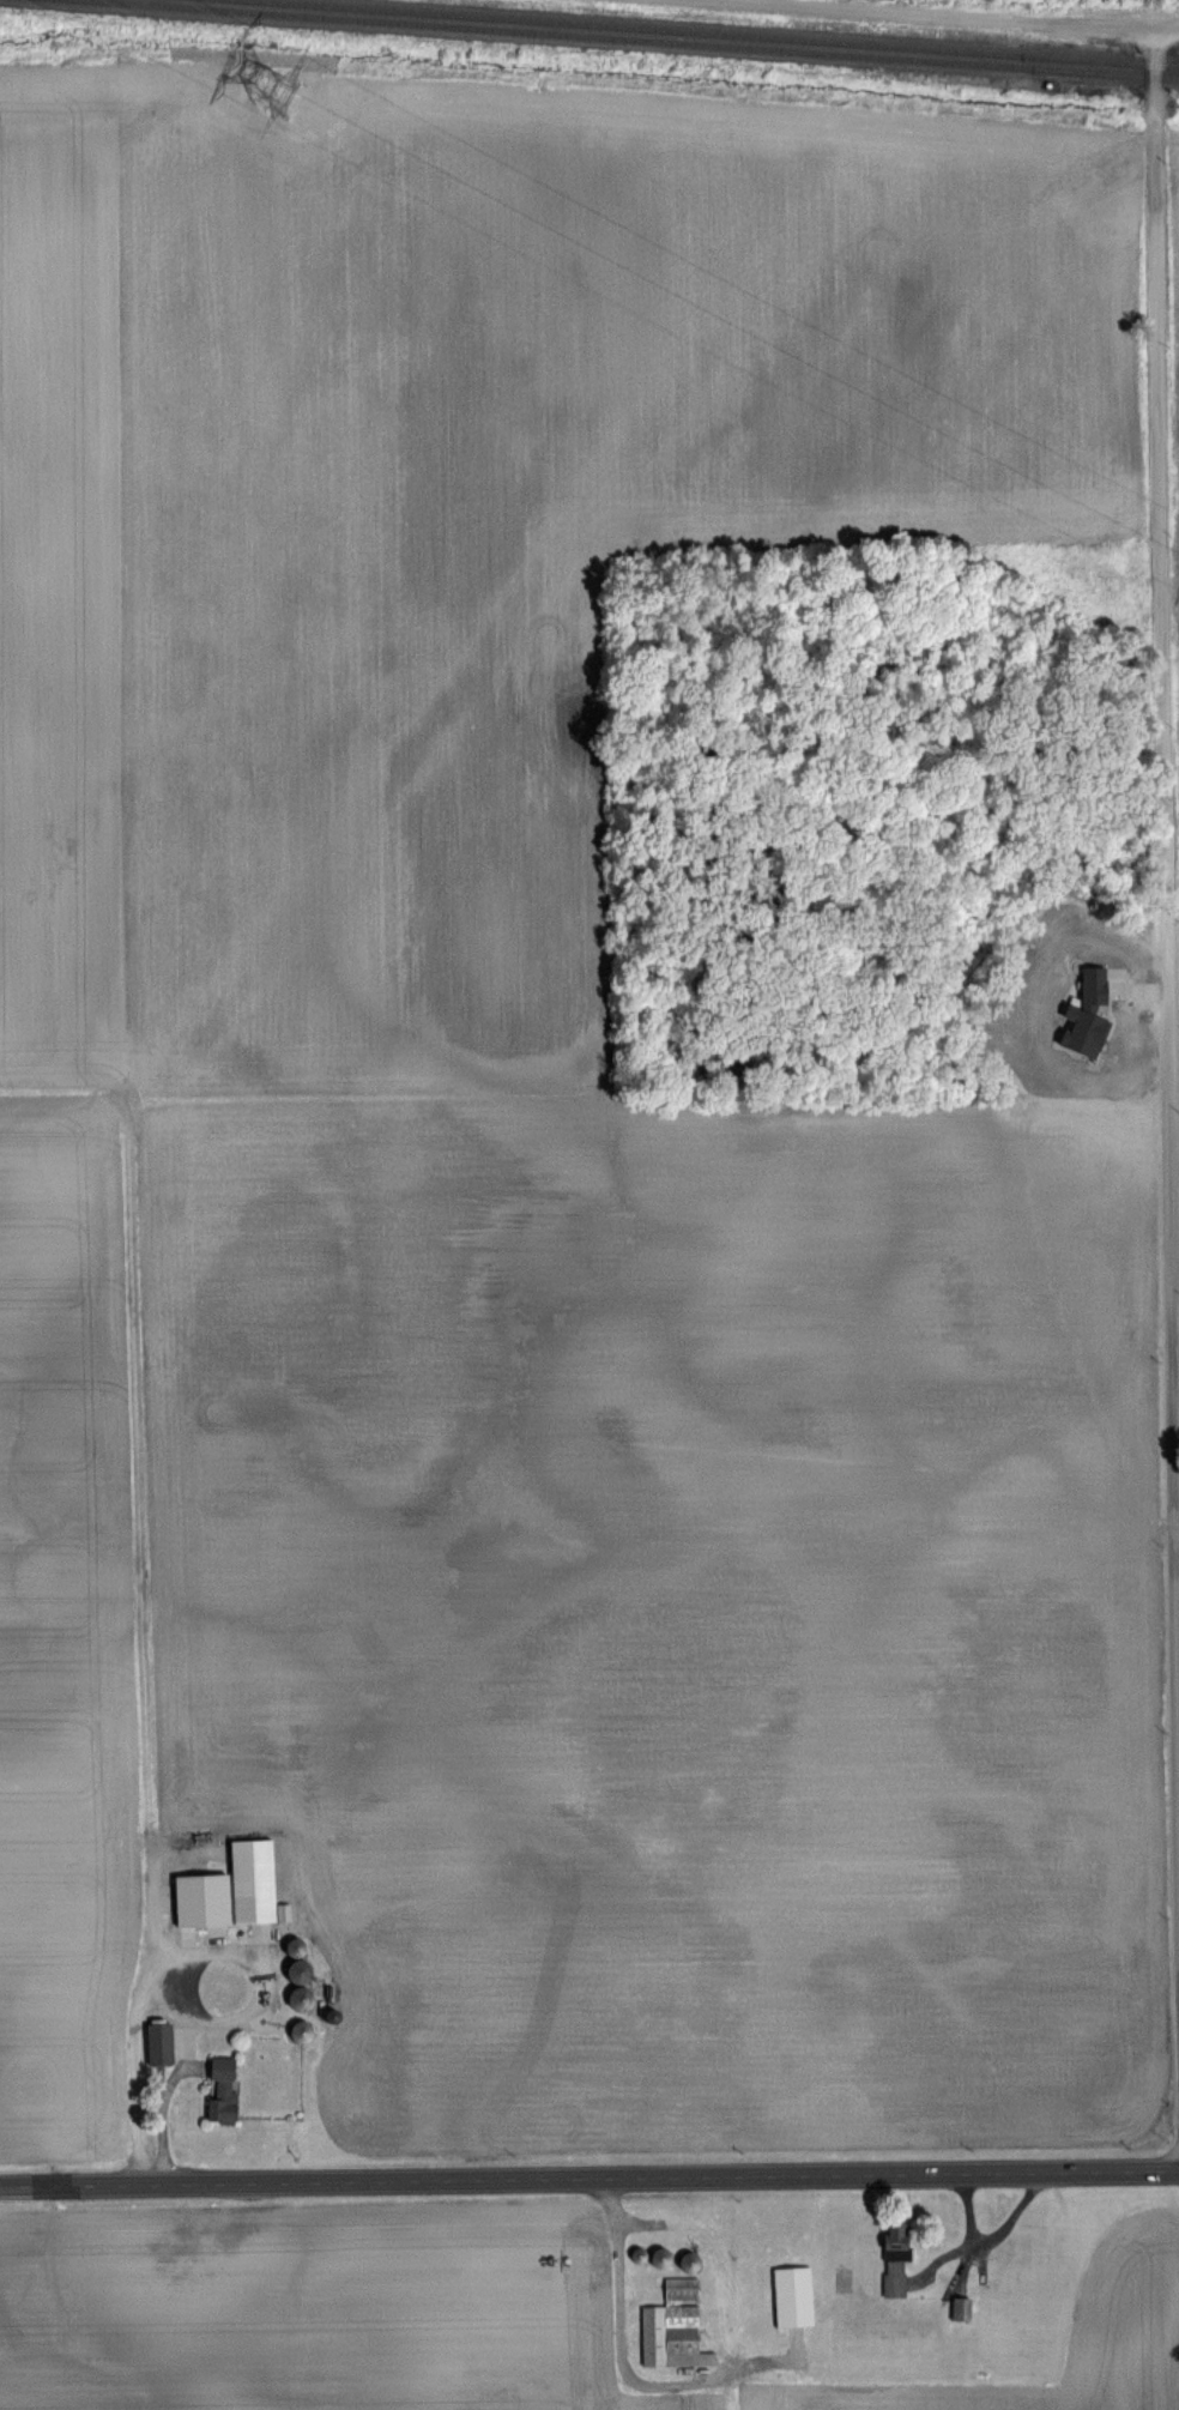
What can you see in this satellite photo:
road: (931, 16)
road: (1168, 30)
railway: (719, 34)
railway: (649, 37)
power tower: (258, 92)
road: (1166, 878)
building: (236, 1889)
road: (174, 1956)
building: (157, 2043)
building: (220, 2090)
road: (589, 2178)
building: (658, 2258)
building: (893, 2260)
building: (688, 2263)
building: (792, 2297)
building: (959, 2309)
building: (673, 2327)
road: (623, 2361)

